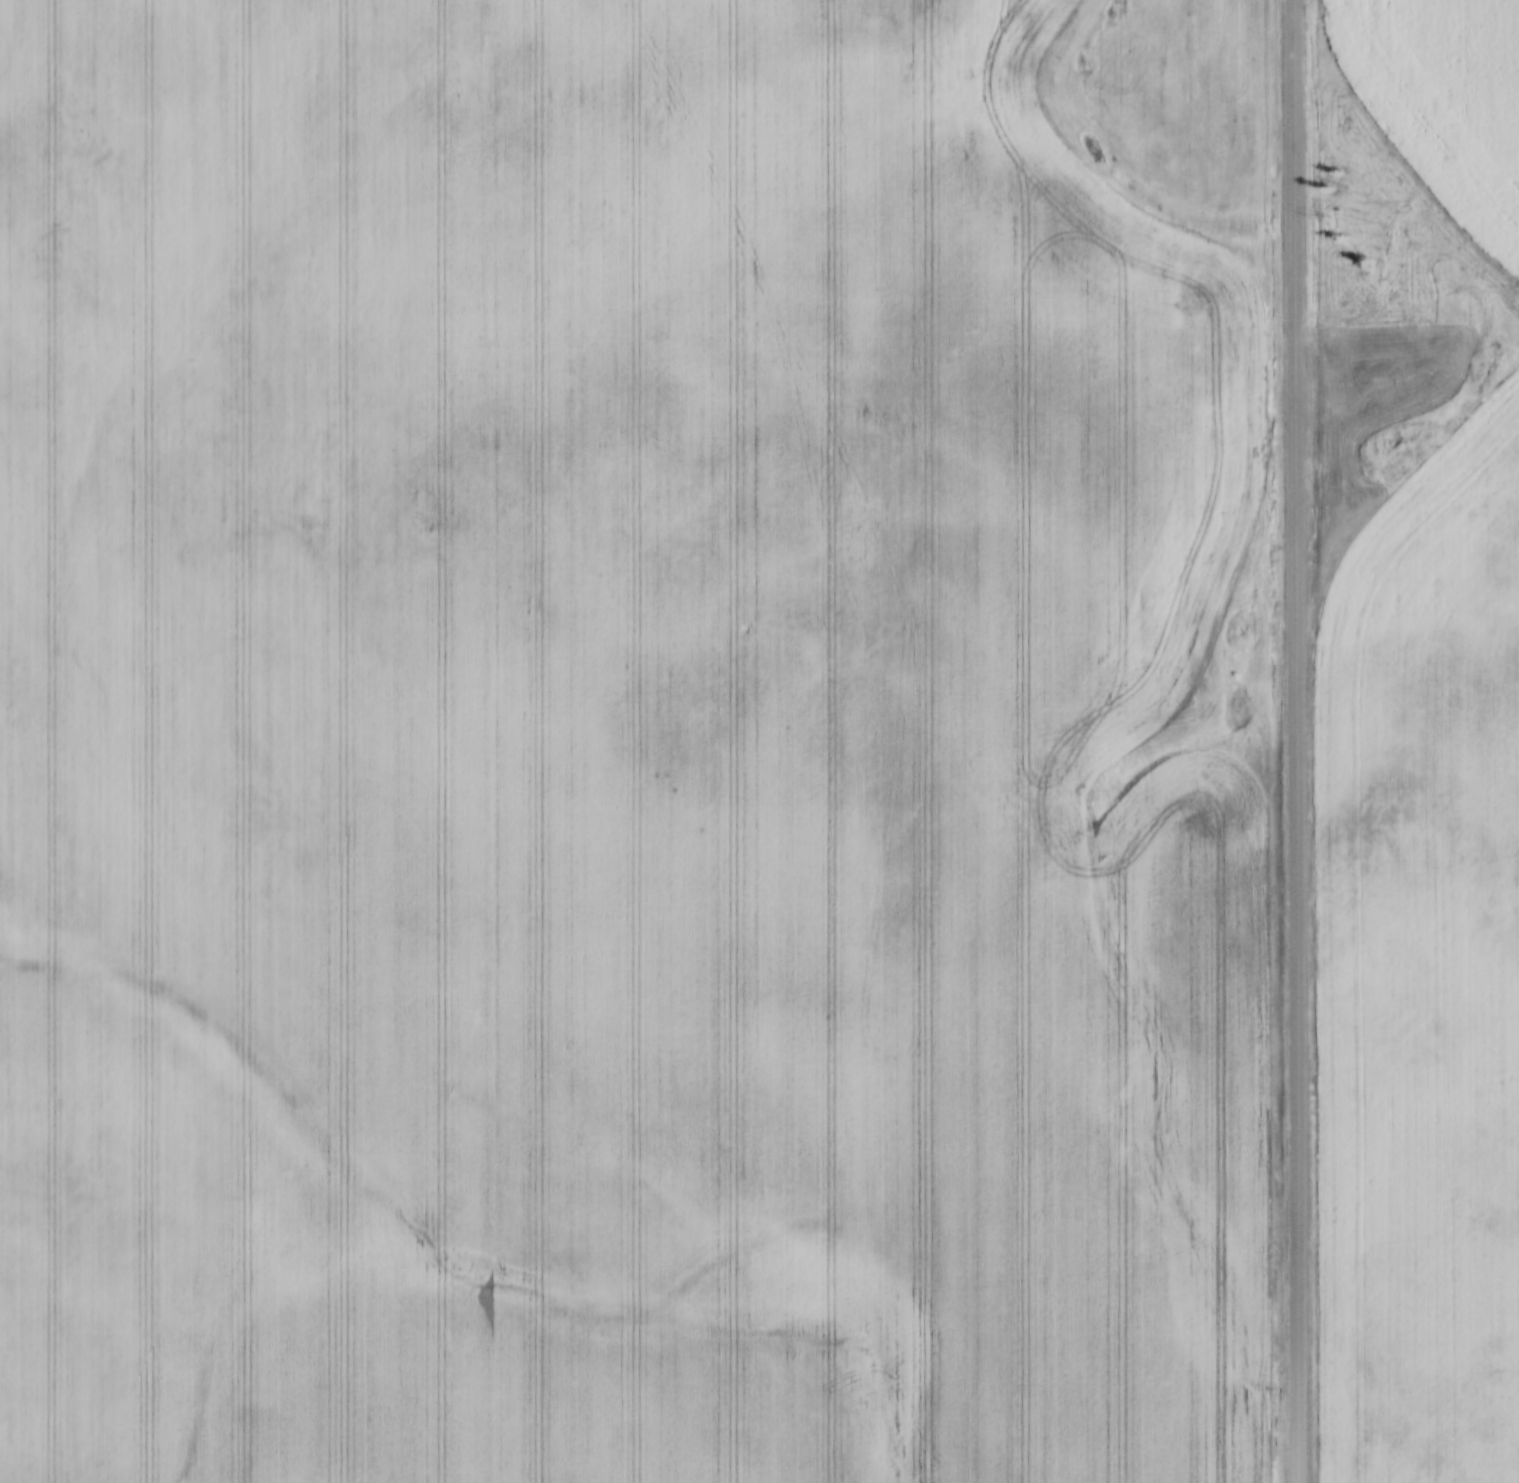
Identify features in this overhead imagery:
road: (1294, 741)

